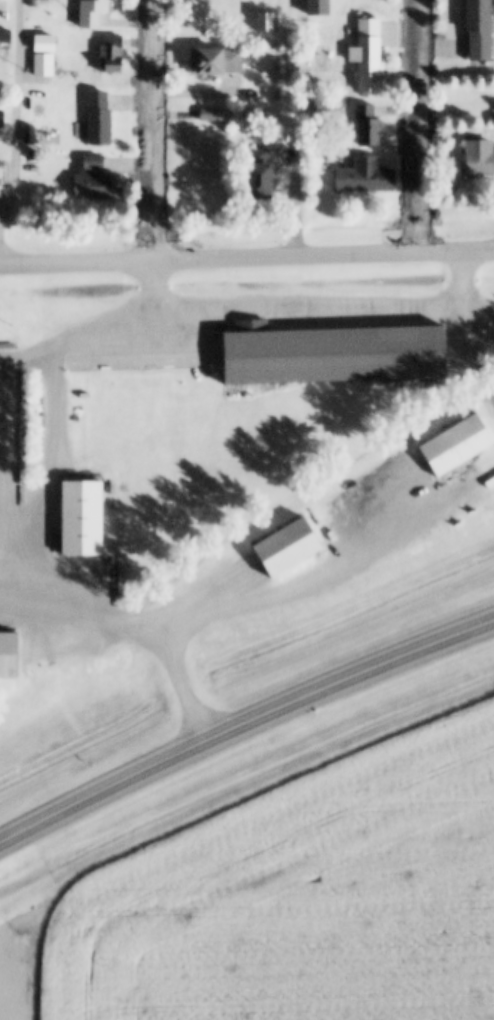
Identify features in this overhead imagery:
building: (40, 0)
building: (101, 2)
building: (327, 7)
building: (270, 22)
building: (485, 28)
building: (7, 37)
building: (114, 54)
building: (375, 55)
building: (222, 60)
building: (46, 65)
building: (2, 116)
building: (101, 120)
building: (373, 125)
road: (427, 128)
road: (159, 132)
road: (16, 134)
building: (483, 157)
building: (216, 161)
building: (270, 175)
building: (373, 177)
building: (95, 181)
building: (1, 182)
road: (246, 261)
building: (333, 355)
building: (164, 362)
building: (90, 365)
building: (0, 519)
building: (8, 656)
road: (242, 728)

